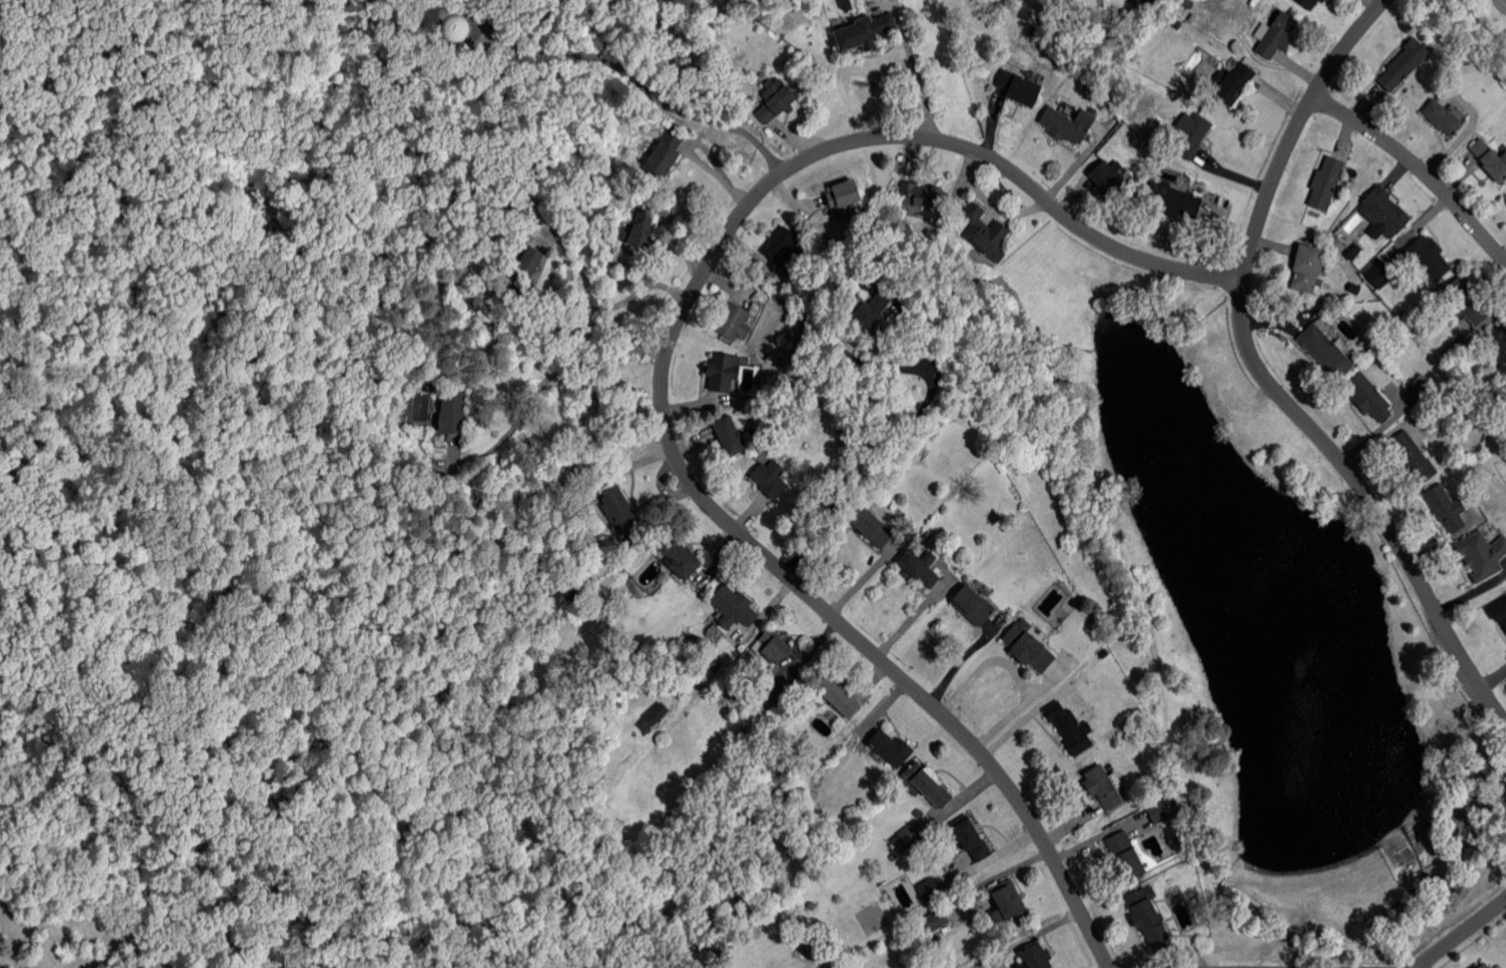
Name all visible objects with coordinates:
building: (1310, 3)
road: (480, 12)
building: (453, 26)
building: (1057, 30)
building: (865, 32)
building: (1275, 35)
building: (1405, 64)
road: (914, 69)
road: (633, 78)
building: (1232, 84)
building: (1020, 87)
building: (1107, 96)
road: (129, 101)
building: (775, 101)
building: (1442, 118)
building: (1068, 124)
building: (1190, 135)
building: (663, 156)
building: (1490, 160)
road: (1420, 168)
building: (1110, 177)
building: (1327, 183)
building: (844, 194)
building: (921, 194)
building: (1505, 198)
building: (1173, 200)
park: (181, 207)
building: (1383, 213)
building: (643, 229)
building: (985, 229)
building: (784, 245)
building: (1356, 249)
building: (1429, 258)
building: (1307, 268)
building: (526, 272)
building: (1377, 273)
building: (876, 275)
building: (1354, 289)
building: (1466, 303)
road: (606, 308)
building: (873, 312)
building: (735, 322)
building: (1498, 346)
building: (1456, 351)
building: (1327, 353)
building: (723, 372)
road: (1266, 377)
road: (544, 379)
road: (662, 382)
building: (1423, 389)
building: (1369, 400)
building: (455, 408)
building: (730, 435)
road: (894, 449)
building: (1414, 458)
building: (771, 478)
building: (1446, 508)
building: (622, 516)
building: (871, 527)
building: (1483, 555)
building: (681, 557)
building: (920, 568)
building: (974, 604)
building: (735, 607)
building: (1500, 612)
building: (775, 645)
building: (1029, 646)
road: (1003, 658)
road: (1005, 684)
building: (779, 690)
building: (837, 695)
building: (652, 715)
building: (1071, 728)
building: (892, 748)
building: (926, 783)
building: (1103, 786)
building: (1160, 813)
building: (919, 814)
building: (911, 835)
building: (973, 839)
building: (1127, 854)
building: (894, 857)
building: (824, 858)
building: (929, 889)
building: (1008, 902)
building: (812, 906)
building: (1148, 915)
building: (935, 920)
road: (1463, 934)
building: (1038, 956)
building: (944, 957)
building: (1483, 966)
building: (1492, 966)

